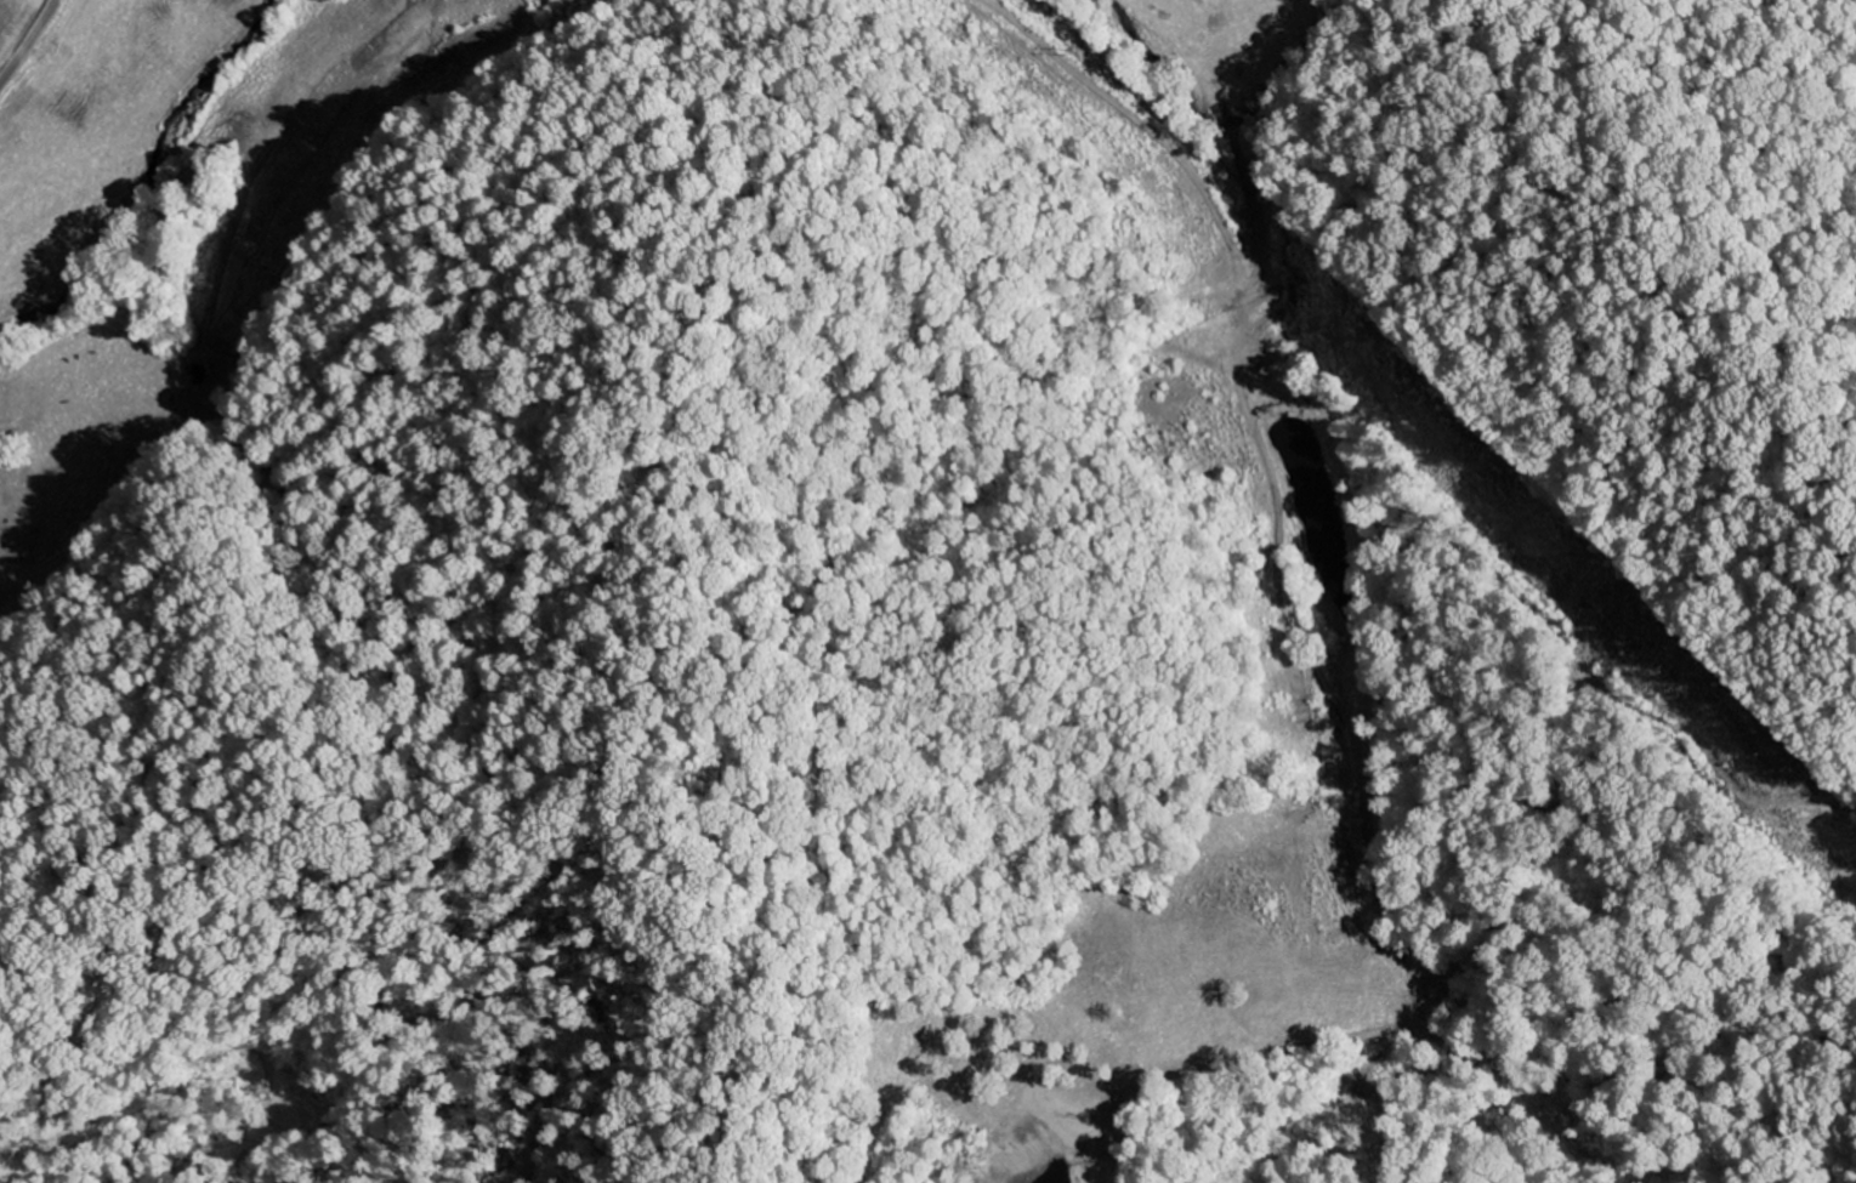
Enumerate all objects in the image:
road: (29, 41)
power tower: (1662, 667)

